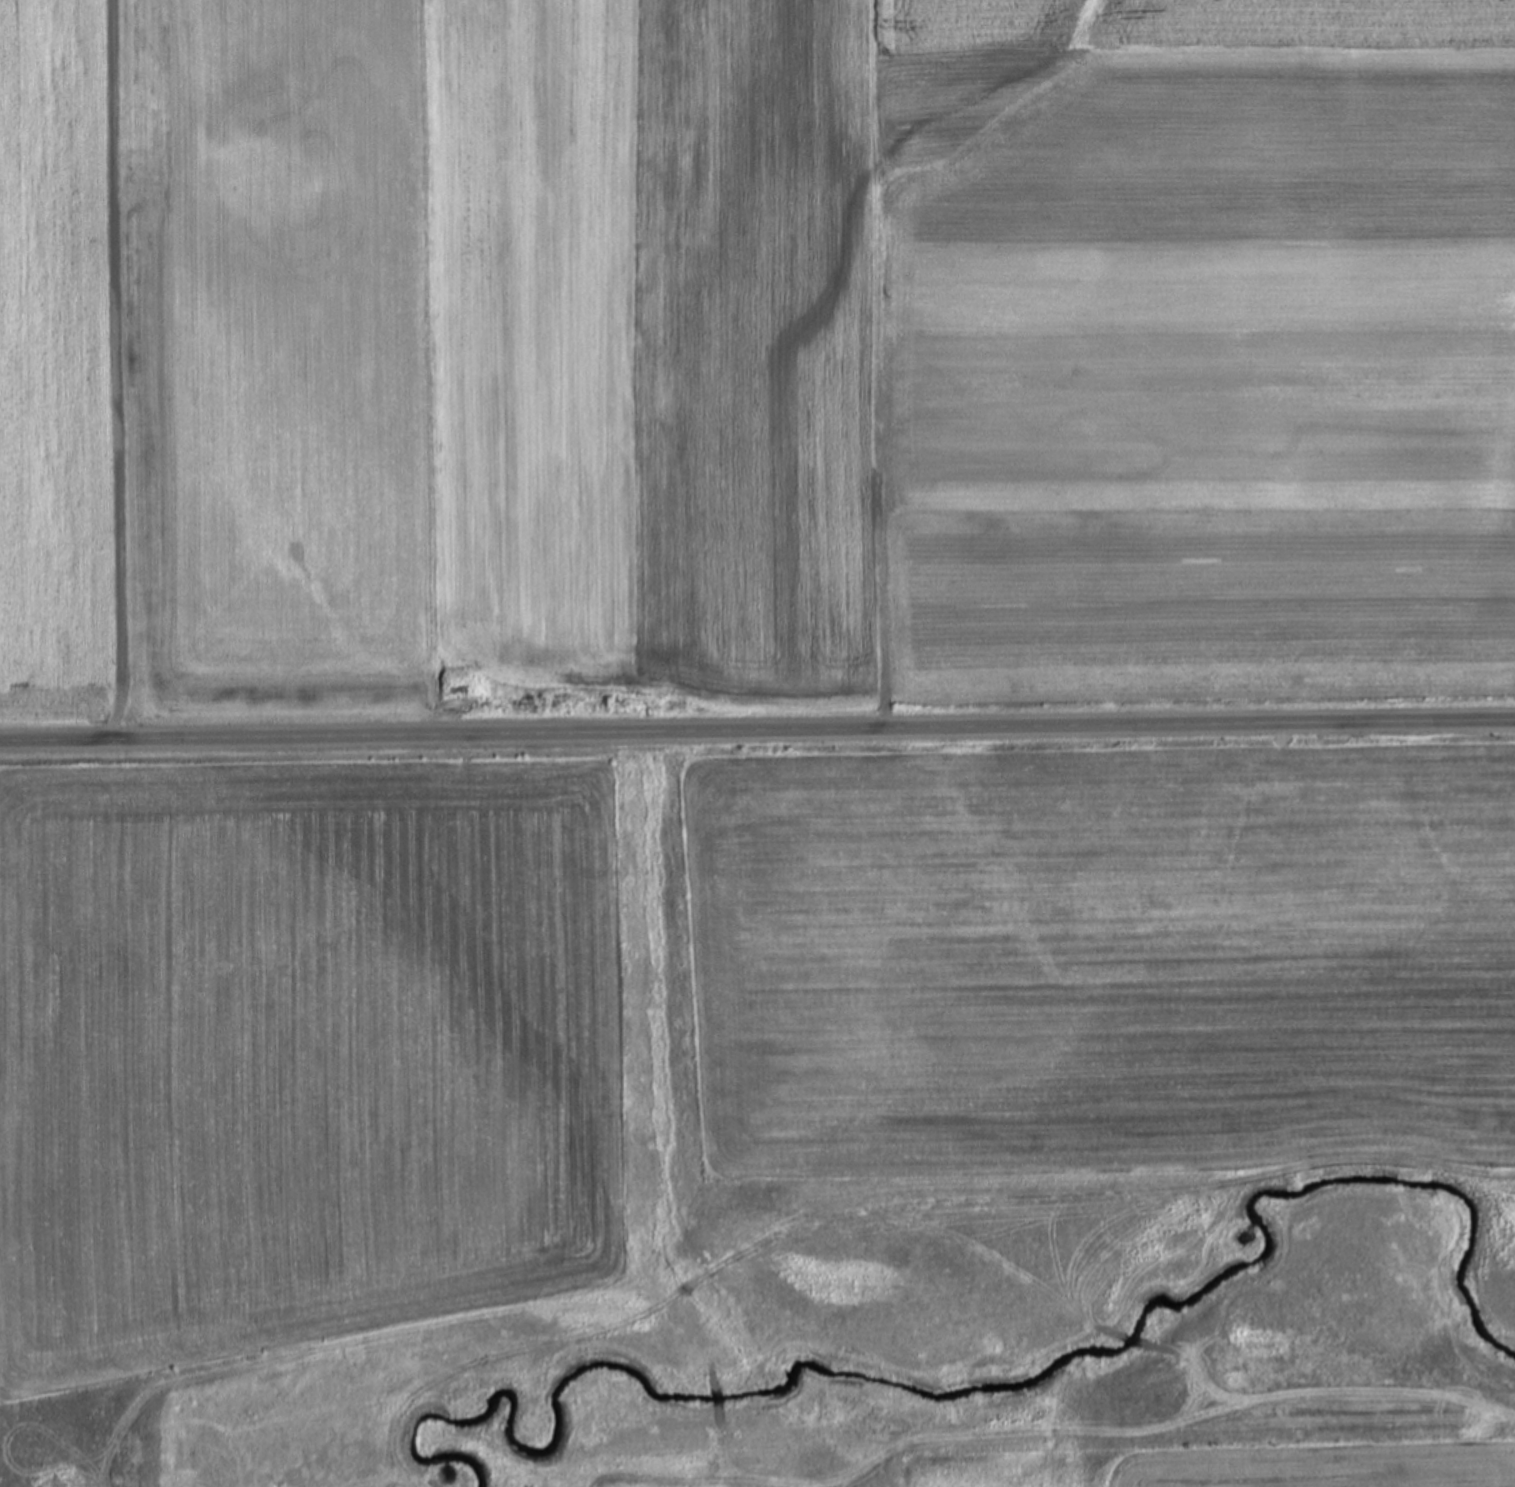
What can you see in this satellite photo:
road: (112, 369)
road: (757, 728)

